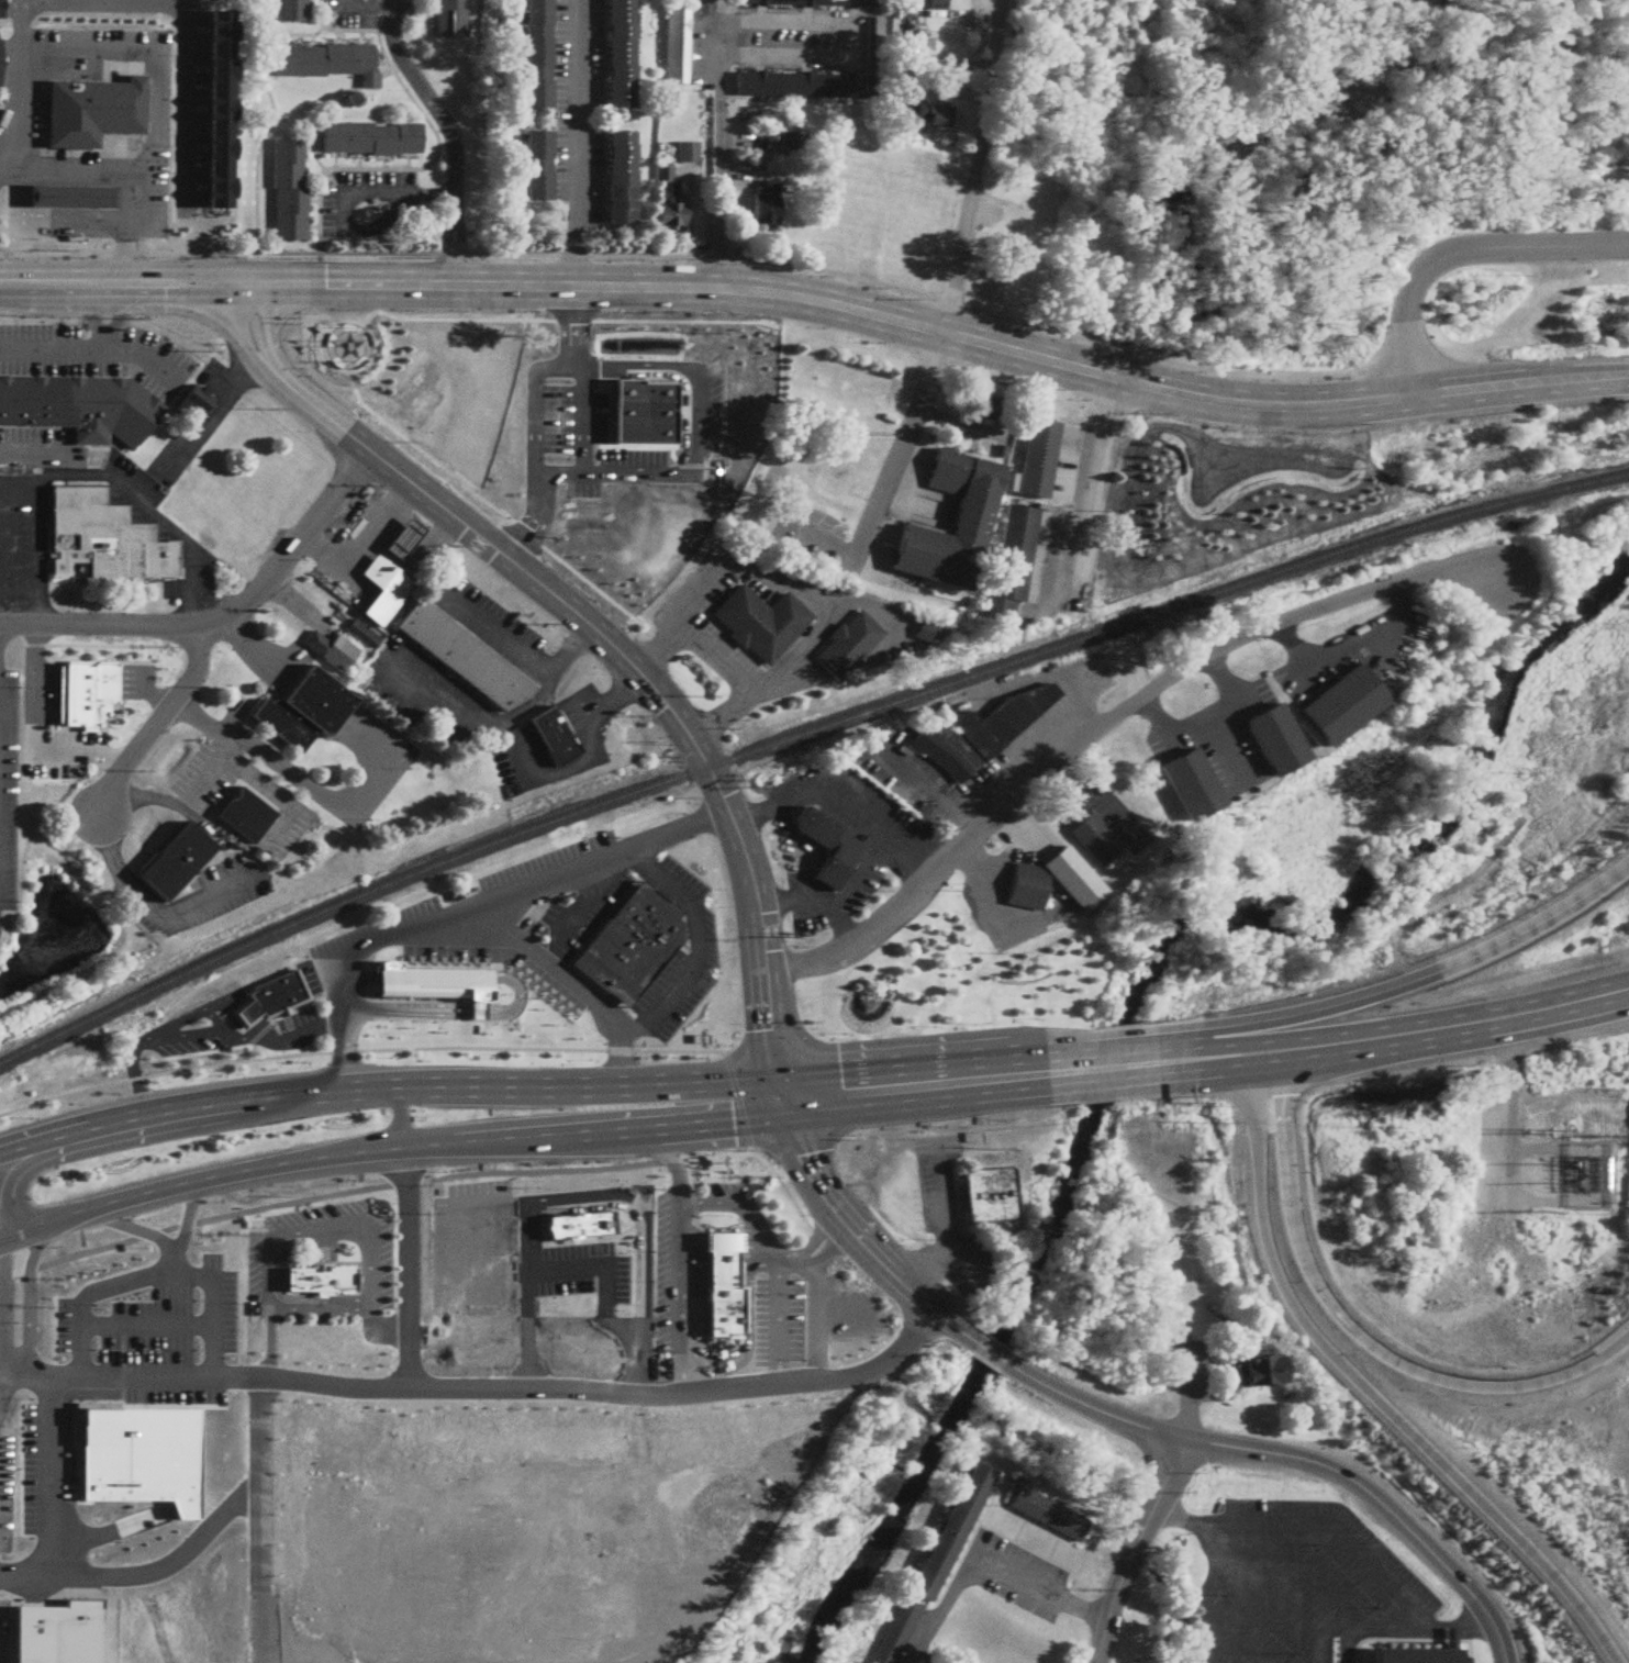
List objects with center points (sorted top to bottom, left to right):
road: (79, 1)
building: (811, 1)
river: (1627, 1)
road: (176, 2)
building: (287, 10)
road: (365, 10)
parking lot: (366, 11)
building: (446, 18)
road: (423, 19)
road: (333, 27)
road: (410, 27)
road: (331, 34)
road: (359, 34)
parking lot: (800, 36)
road: (856, 37)
building: (676, 42)
building: (534, 54)
building: (615, 56)
building: (320, 58)
building: (1, 64)
building: (799, 80)
road: (15, 89)
road: (185, 98)
building: (216, 104)
parking lot: (573, 105)
road: (577, 105)
parking lot: (186, 107)
building: (97, 110)
road: (433, 112)
road: (271, 116)
building: (930, 116)
parking lot: (85, 129)
building: (370, 134)
road: (718, 155)
road: (312, 157)
road: (334, 158)
road: (359, 158)
road: (383, 158)
road: (408, 158)
road: (87, 164)
road: (406, 166)
building: (919, 167)
road: (978, 168)
building: (532, 171)
building: (660, 174)
road: (152, 176)
building: (615, 178)
building: (288, 185)
road: (338, 189)
building: (75, 196)
road: (311, 198)
parking lot: (366, 199)
building: (759, 205)
building: (924, 208)
building: (666, 215)
building: (1013, 217)
road: (311, 224)
road: (574, 248)
building: (834, 248)
road: (447, 253)
road: (459, 253)
road: (127, 254)
road: (1459, 255)
road: (710, 257)
road: (315, 279)
traffic signals: (237, 284)
road: (683, 291)
road: (118, 308)
road: (94, 313)
road: (323, 315)
road: (368, 315)
road: (92, 346)
building: (554, 346)
building: (602, 349)
building: (695, 349)
building: (644, 351)
building: (347, 356)
building: (439, 357)
parking lot: (97, 359)
building: (750, 359)
park: (393, 361)
road: (356, 367)
road: (1578, 373)
road: (361, 388)
road: (1481, 388)
parking lot: (415, 392)
road: (1531, 393)
building: (193, 399)
road: (1394, 400)
building: (461, 403)
road: (526, 406)
building: (978, 406)
building: (77, 410)
road: (217, 412)
building: (639, 413)
parking lot: (196, 426)
building: (744, 428)
parking lot: (36, 447)
road: (30, 448)
road: (900, 454)
building: (1036, 459)
road: (70, 482)
building: (1164, 482)
railway: (1558, 490)
building: (1331, 493)
road: (393, 495)
road: (1096, 495)
road: (347, 502)
building: (1276, 512)
building: (578, 514)
road: (365, 516)
building: (1213, 516)
parking lot: (147, 517)
building: (952, 521)
road: (38, 522)
road: (160, 524)
parking lot: (1069, 529)
parking lot: (23, 538)
building: (103, 539)
road: (299, 539)
building: (398, 539)
road: (311, 546)
road: (352, 547)
parking lot: (352, 555)
building: (1012, 561)
building: (1163, 565)
building: (1138, 584)
road: (1399, 590)
building: (378, 591)
road: (286, 598)
road: (189, 610)
road: (38, 612)
road: (873, 612)
parking lot: (479, 621)
building: (755, 622)
road: (109, 625)
building: (928, 625)
road: (481, 626)
road: (823, 626)
parking lot: (890, 626)
parking lot: (691, 629)
building: (358, 634)
road: (600, 634)
road: (1288, 635)
road: (690, 638)
road: (93, 643)
road: (652, 643)
road: (38, 646)
building: (845, 647)
road: (255, 648)
building: (327, 650)
building: (457, 656)
road: (560, 659)
road: (1223, 665)
parking lot: (135, 678)
road: (145, 678)
road: (438, 688)
road: (621, 690)
road: (1079, 691)
building: (86, 694)
parking lot: (423, 695)
road: (160, 696)
building: (1337, 702)
road: (1150, 704)
building: (298, 710)
road: (521, 710)
road: (715, 712)
road: (1105, 712)
road: (166, 722)
road: (203, 726)
parking lot: (49, 727)
building: (978, 729)
road: (38, 732)
building: (547, 736)
parking lot: (514, 737)
building: (1271, 741)
road: (115, 750)
parking lot: (1015, 750)
road: (1014, 758)
railway: (734, 759)
road: (574, 763)
road: (231, 764)
parking lot: (368, 766)
road: (276, 767)
road: (204, 778)
parking lot: (207, 779)
road: (1049, 783)
road: (359, 784)
building: (1189, 784)
road: (925, 785)
road: (261, 788)
parking lot: (8, 791)
road: (149, 801)
road: (1102, 801)
parking lot: (1092, 805)
road: (752, 806)
building: (239, 815)
road: (1002, 822)
road: (282, 823)
parking lot: (280, 830)
road: (671, 834)
building: (1093, 838)
building: (826, 847)
road: (108, 848)
parking lot: (800, 856)
road: (970, 857)
building: (168, 862)
road: (863, 871)
parking lot: (984, 881)
road: (542, 882)
building: (1051, 882)
road: (981, 895)
parking lot: (192, 899)
road: (585, 899)
road: (779, 900)
road: (185, 904)
road: (837, 918)
road: (695, 926)
road: (402, 931)
parking lot: (392, 934)
building: (626, 945)
parking lot: (690, 951)
river: (1153, 963)
building: (1058, 971)
building: (437, 981)
road: (438, 981)
building: (464, 981)
road: (338, 984)
road: (360, 984)
road: (1391, 985)
road: (572, 992)
building: (270, 994)
building: (916, 995)
road: (1564, 1005)
fountain: (862, 1007)
road: (450, 1016)
parking lot: (233, 1025)
road: (633, 1027)
road: (252, 1031)
road: (1395, 1035)
road: (428, 1046)
road: (138, 1048)
road: (1272, 1051)
road: (344, 1054)
road: (1193, 1060)
road: (1128, 1067)
road: (1104, 1070)
road: (931, 1085)
road: (66, 1091)
road: (335, 1094)
road: (140, 1096)
traffic signals: (781, 1100)
road: (736, 1101)
road: (728, 1104)
road: (1511, 1106)
road: (156, 1135)
road: (360, 1143)
road: (650, 1146)
road: (334, 1157)
road: (635, 1160)
power substation: (1585, 1175)
building: (982, 1195)
road: (789, 1196)
parking lot: (478, 1201)
road: (555, 1210)
parking lot: (944, 1212)
road: (942, 1213)
road: (482, 1219)
road: (678, 1220)
road: (187, 1224)
building: (576, 1226)
road: (322, 1229)
road: (137, 1231)
road: (860, 1238)
road: (828, 1239)
parking lot: (325, 1249)
parking lot: (683, 1253)
road: (766, 1258)
road: (923, 1264)
road: (408, 1266)
road: (774, 1271)
road: (613, 1273)
building: (313, 1281)
park: (1165, 1281)
building: (716, 1284)
road: (275, 1288)
parking lot: (487, 1288)
road: (30, 1293)
road: (94, 1295)
parking lot: (574, 1309)
road: (321, 1312)
road: (573, 1312)
parking lot: (848, 1313)
building: (131, 1318)
road: (811, 1318)
road: (2, 1324)
road: (189, 1324)
parking lot: (776, 1326)
road: (776, 1326)
road: (380, 1332)
road: (1355, 1335)
road: (638, 1339)
road: (743, 1341)
road: (270, 1344)
road: (676, 1346)
road: (473, 1347)
road: (213, 1350)
road: (582, 1350)
road: (717, 1352)
road: (988, 1358)
road: (1225, 1361)
road: (881, 1363)
parking lot: (129, 1366)
parking lot: (1200, 1368)
road: (1208, 1371)
building: (1254, 1372)
road: (639, 1373)
road: (1191, 1374)
road: (136, 1376)
road: (776, 1377)
road: (542, 1388)
road: (1362, 1388)
road: (261, 1427)
road: (1288, 1459)
road: (44, 1475)
parking lot: (5, 1492)
building: (1046, 1511)
road: (1189, 1524)
building: (945, 1530)
road: (1139, 1547)
building: (495, 1550)
road: (962, 1569)
road: (261, 1570)
parking lot: (1013, 1571)
road: (150, 1574)
parking lot: (1301, 1585)
road: (1210, 1598)
road: (1408, 1599)
road: (1082, 1604)
road: (1288, 1621)
road: (1451, 1630)
building: (894, 1632)
parking lot: (4, 1633)
building: (54, 1634)
road: (1382, 1636)
road: (1342, 1639)
road: (1237, 1640)
road: (1466, 1642)
road: (1325, 1647)
building: (1418, 1652)

